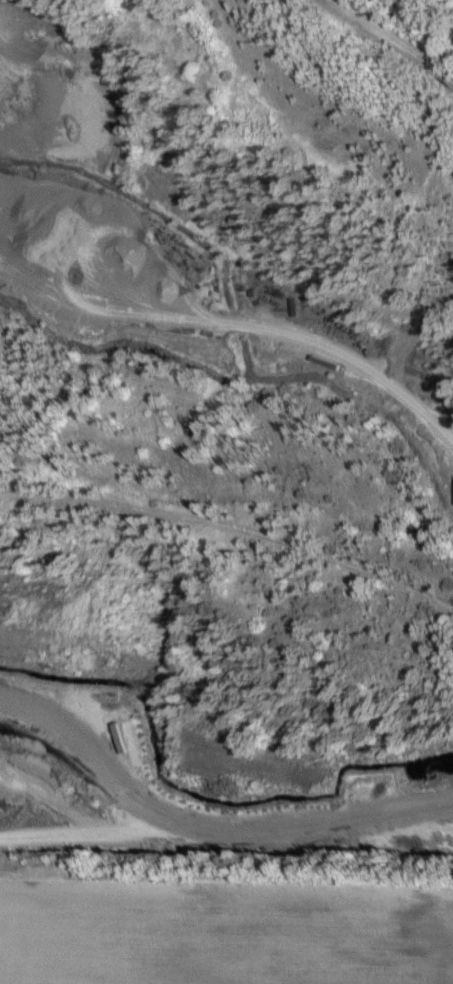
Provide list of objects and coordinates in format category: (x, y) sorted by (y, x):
quarry: (226, 439)

